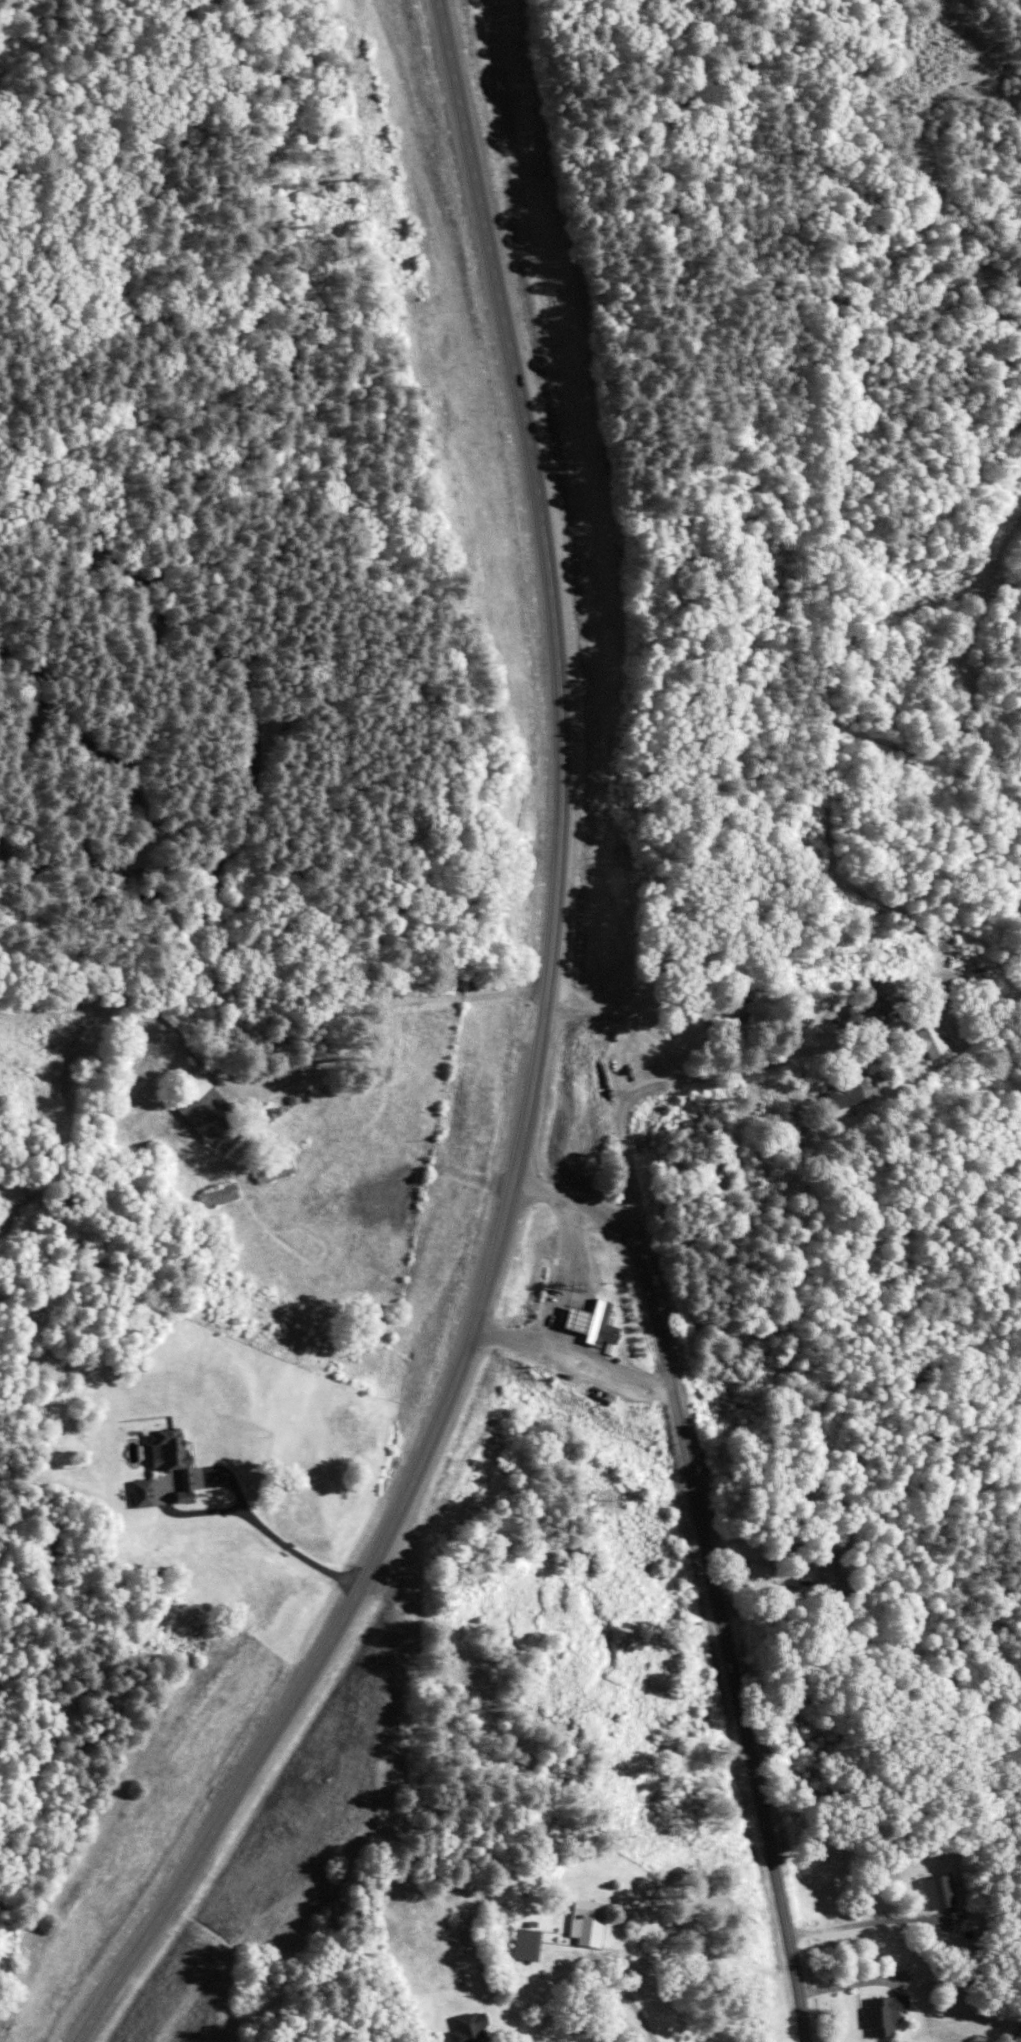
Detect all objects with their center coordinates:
park: (410, 489)
building: (867, 1011)
road: (352, 1030)
building: (927, 1041)
road: (535, 1067)
road: (717, 1076)
building: (850, 1092)
building: (203, 1106)
building: (796, 1135)
building: (270, 1172)
building: (215, 1195)
building: (564, 1317)
building: (596, 1322)
road: (522, 1340)
building: (160, 1450)
building: (139, 1494)
building: (830, 1569)
road: (711, 1575)
building: (932, 1892)
building: (583, 1923)
road: (859, 1923)
building: (523, 1945)
road: (629, 2003)
building: (880, 2015)
building: (465, 2029)

